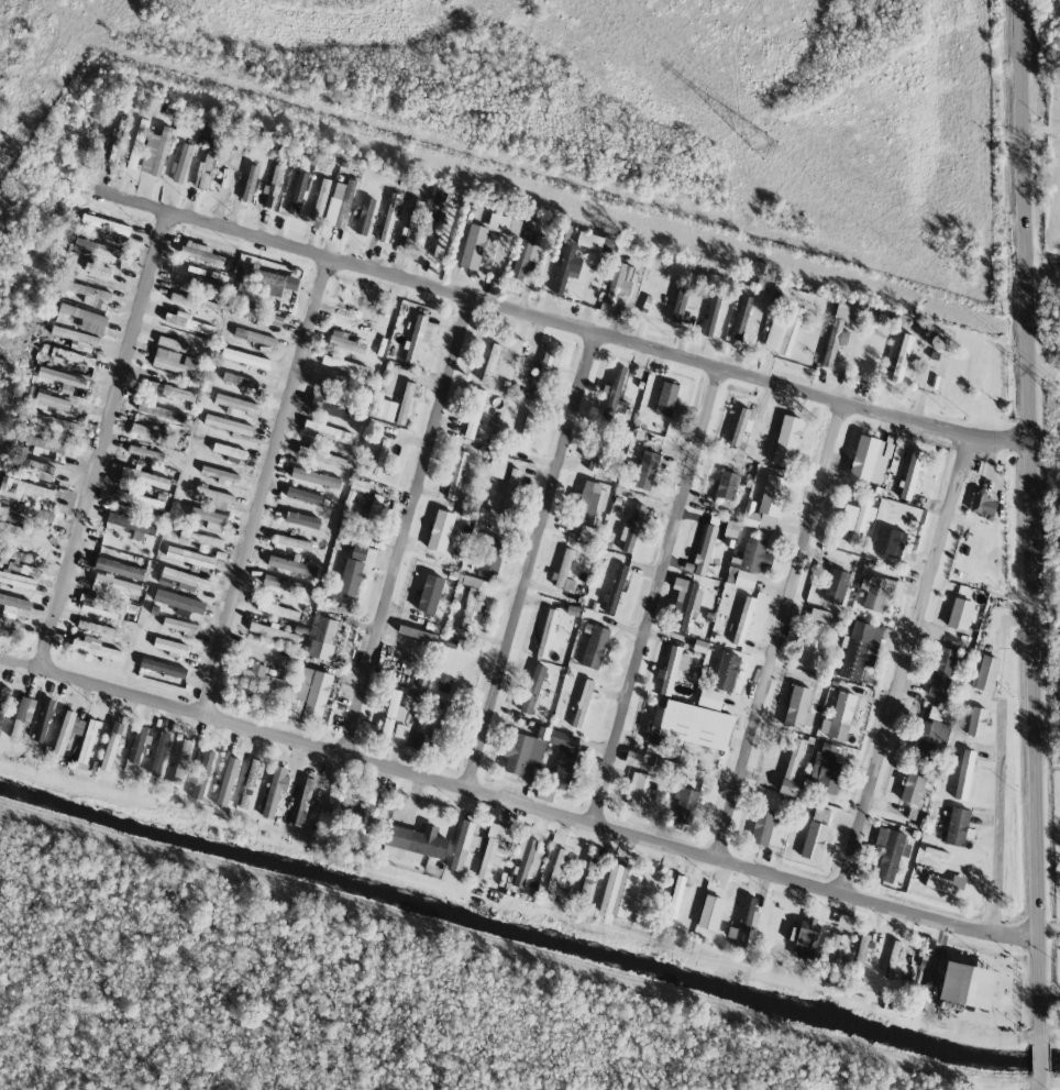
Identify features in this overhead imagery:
road: (1039, 137)
building: (137, 144)
building: (156, 152)
building: (181, 163)
power tower: (784, 163)
building: (205, 169)
building: (250, 183)
building: (273, 186)
building: (298, 192)
building: (439, 198)
building: (320, 199)
building: (341, 206)
building: (365, 216)
building: (389, 218)
building: (413, 221)
building: (106, 224)
building: (504, 224)
building: (589, 240)
building: (440, 245)
building: (473, 246)
building: (98, 249)
building: (196, 251)
building: (527, 253)
building: (566, 267)
building: (97, 269)
building: (203, 283)
building: (619, 283)
building: (277, 284)
building: (238, 286)
building: (89, 293)
building: (195, 301)
building: (257, 313)
building: (711, 316)
building: (82, 318)
building: (740, 318)
building: (187, 322)
road: (556, 324)
building: (837, 333)
building: (255, 337)
building: (418, 337)
building: (76, 338)
building: (345, 341)
building: (172, 343)
building: (71, 357)
building: (245, 359)
building: (176, 362)
building: (898, 362)
building: (492, 363)
building: (544, 374)
building: (63, 379)
building: (240, 379)
building: (169, 390)
building: (615, 390)
building: (51, 399)
building: (666, 399)
building: (405, 403)
building: (236, 404)
building: (328, 408)
building: (387, 409)
building: (162, 411)
building: (475, 414)
building: (228, 425)
building: (53, 426)
building: (741, 426)
building: (148, 431)
building: (327, 431)
building: (526, 432)
road: (110, 441)
building: (786, 441)
building: (597, 449)
building: (229, 451)
building: (321, 456)
building: (380, 458)
building: (870, 459)
building: (498, 465)
building: (40, 469)
building: (645, 470)
building: (910, 474)
building: (221, 475)
building: (456, 475)
building: (144, 476)
building: (316, 477)
building: (356, 484)
building: (727, 485)
road: (273, 488)
building: (24, 489)
building: (511, 489)
building: (303, 495)
building: (214, 497)
building: (139, 499)
building: (589, 500)
building: (980, 503)
building: (766, 504)
building: (376, 507)
building: (34, 511)
building: (209, 518)
building: (14, 519)
building: (858, 519)
building: (302, 520)
road: (1029, 521)
building: (132, 525)
road: (412, 529)
building: (442, 529)
building: (731, 529)
building: (15, 530)
building: (588, 533)
building: (201, 539)
building: (292, 541)
building: (890, 542)
building: (704, 551)
building: (190, 557)
building: (492, 558)
building: (748, 563)
building: (292, 565)
road: (533, 565)
building: (13, 566)
building: (119, 569)
building: (30, 570)
building: (353, 570)
building: (564, 571)
building: (185, 579)
building: (18, 582)
building: (473, 582)
building: (287, 584)
building: (115, 586)
building: (836, 586)
building: (615, 587)
building: (426, 593)
building: (877, 593)
building: (686, 599)
building: (179, 601)
road: (663, 602)
building: (15, 604)
building: (470, 604)
building: (100, 607)
building: (276, 607)
building: (960, 614)
building: (743, 620)
building: (9, 623)
building: (180, 626)
building: (97, 628)
building: (273, 632)
building: (546, 632)
building: (418, 634)
road: (786, 636)
building: (323, 638)
building: (815, 638)
building: (170, 646)
building: (594, 646)
building: (95, 648)
building: (860, 649)
building: (162, 668)
building: (673, 668)
road: (913, 669)
building: (726, 672)
building: (941, 672)
building: (986, 673)
building: (263, 676)
building: (443, 684)
building: (532, 689)
building: (310, 694)
building: (710, 698)
building: (583, 703)
building: (2, 705)
building: (798, 708)
building: (391, 712)
building: (22, 716)
building: (839, 717)
building: (43, 719)
building: (976, 722)
building: (689, 724)
building: (401, 731)
building: (64, 733)
building: (930, 734)
building: (563, 739)
building: (429, 740)
building: (139, 741)
building: (87, 744)
building: (111, 746)
building: (525, 751)
building: (159, 753)
building: (633, 759)
building: (826, 766)
building: (564, 768)
building: (202, 774)
building: (964, 774)
building: (227, 781)
building: (250, 782)
building: (912, 788)
building: (275, 790)
building: (639, 790)
building: (339, 797)
building: (303, 802)
building: (684, 805)
road: (516, 806)
road: (997, 819)
building: (957, 826)
building: (763, 827)
building: (816, 834)
building: (413, 843)
building: (463, 845)
building: (494, 848)
building: (890, 852)
building: (526, 860)
building: (556, 868)
building: (588, 879)
building: (947, 885)
building: (621, 894)
building: (675, 896)
building: (710, 912)
building: (844, 921)
building: (744, 922)
building: (807, 938)
building: (836, 947)
building: (861, 950)
building: (892, 959)
building: (968, 984)
road: (1039, 1056)
road: (1038, 1079)

